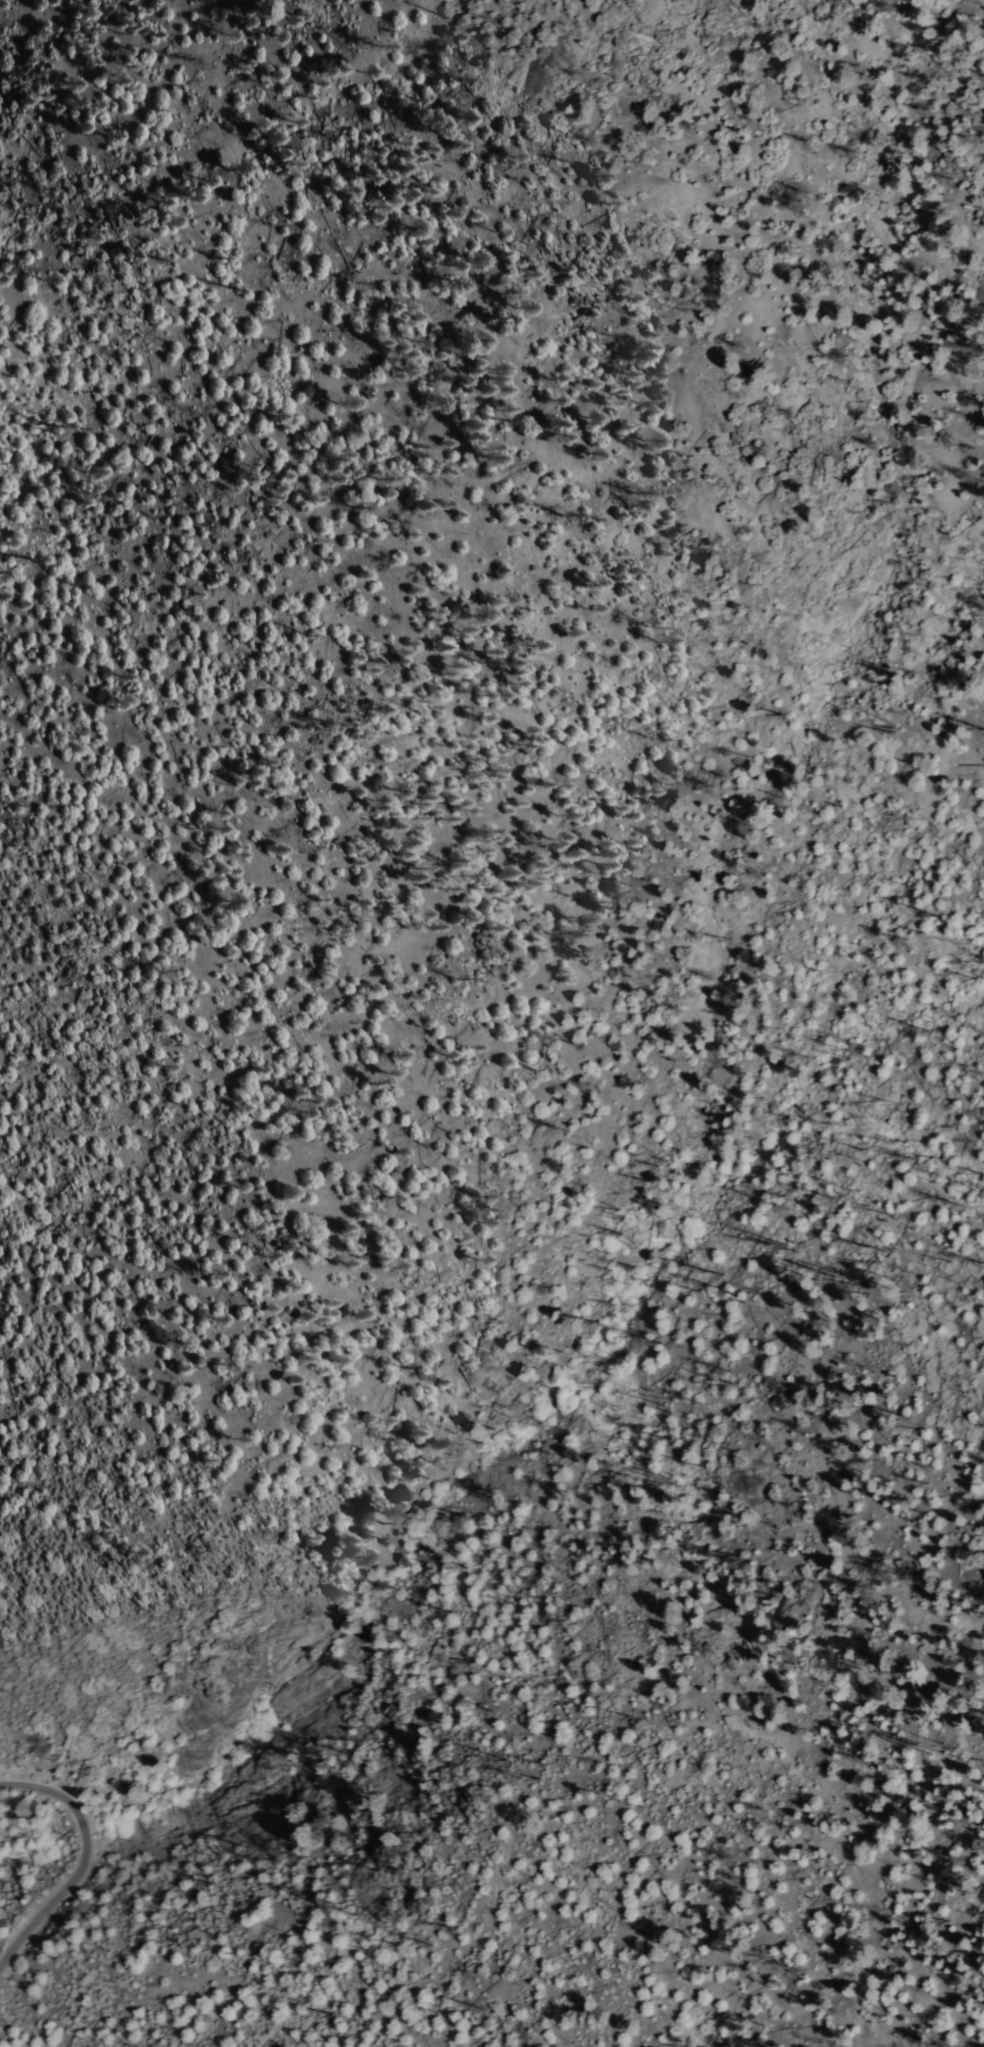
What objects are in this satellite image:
road: (82, 1862)

